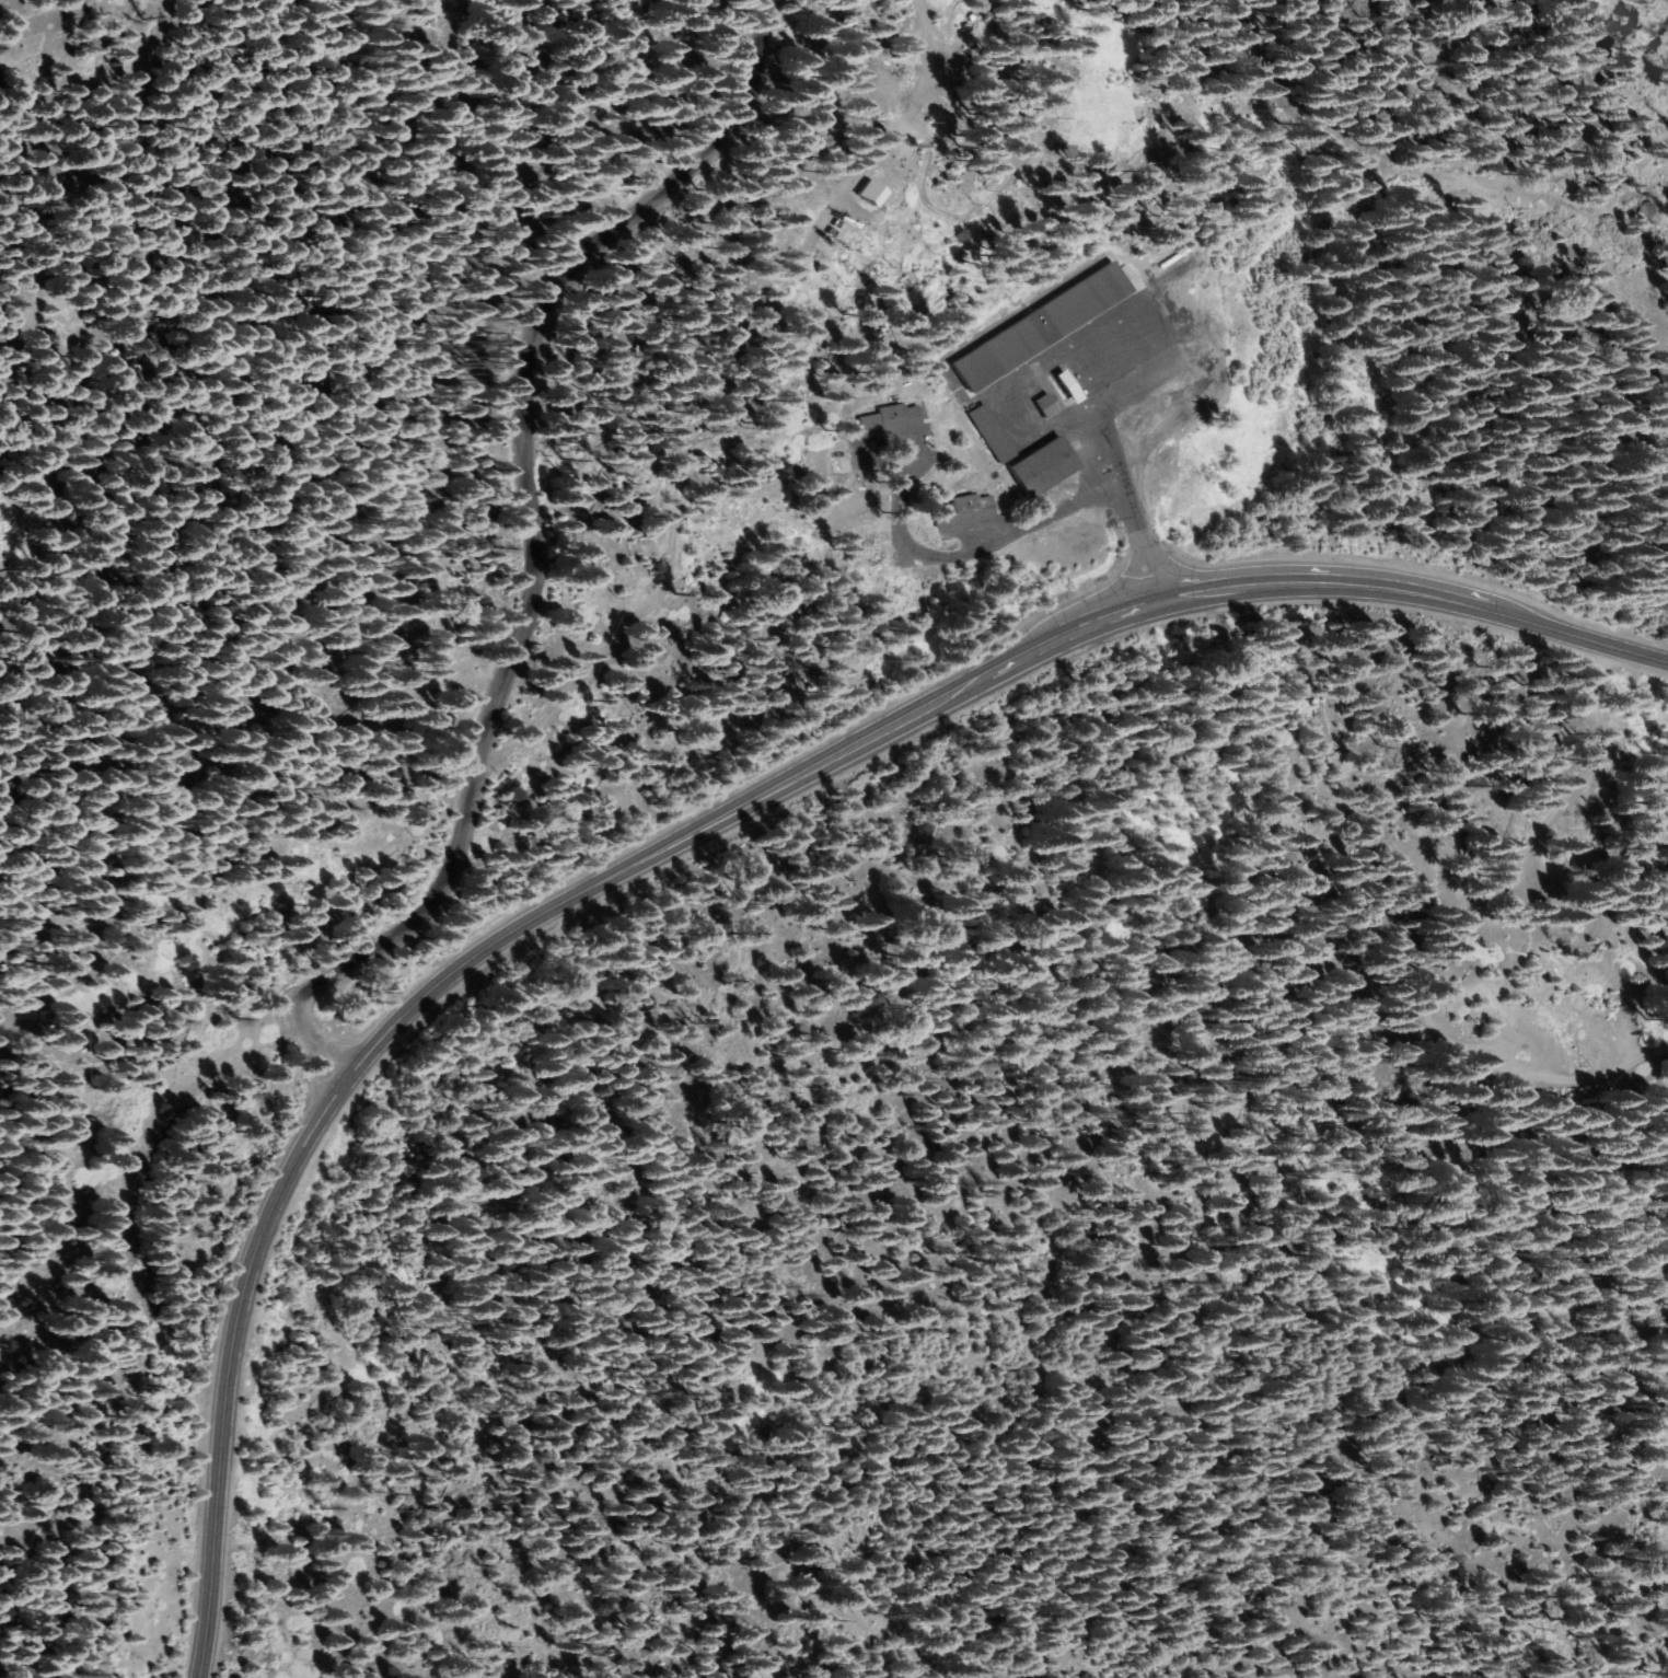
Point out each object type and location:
storage tank: (974, 16)
storage tank: (969, 26)
building: (869, 193)
building: (1175, 255)
building: (1039, 326)
building: (1067, 387)
building: (1044, 404)
building: (887, 419)
building: (988, 432)
building: (1041, 465)
road: (1130, 484)
building: (965, 508)
road: (531, 542)
road: (686, 838)
road: (1448, 935)

